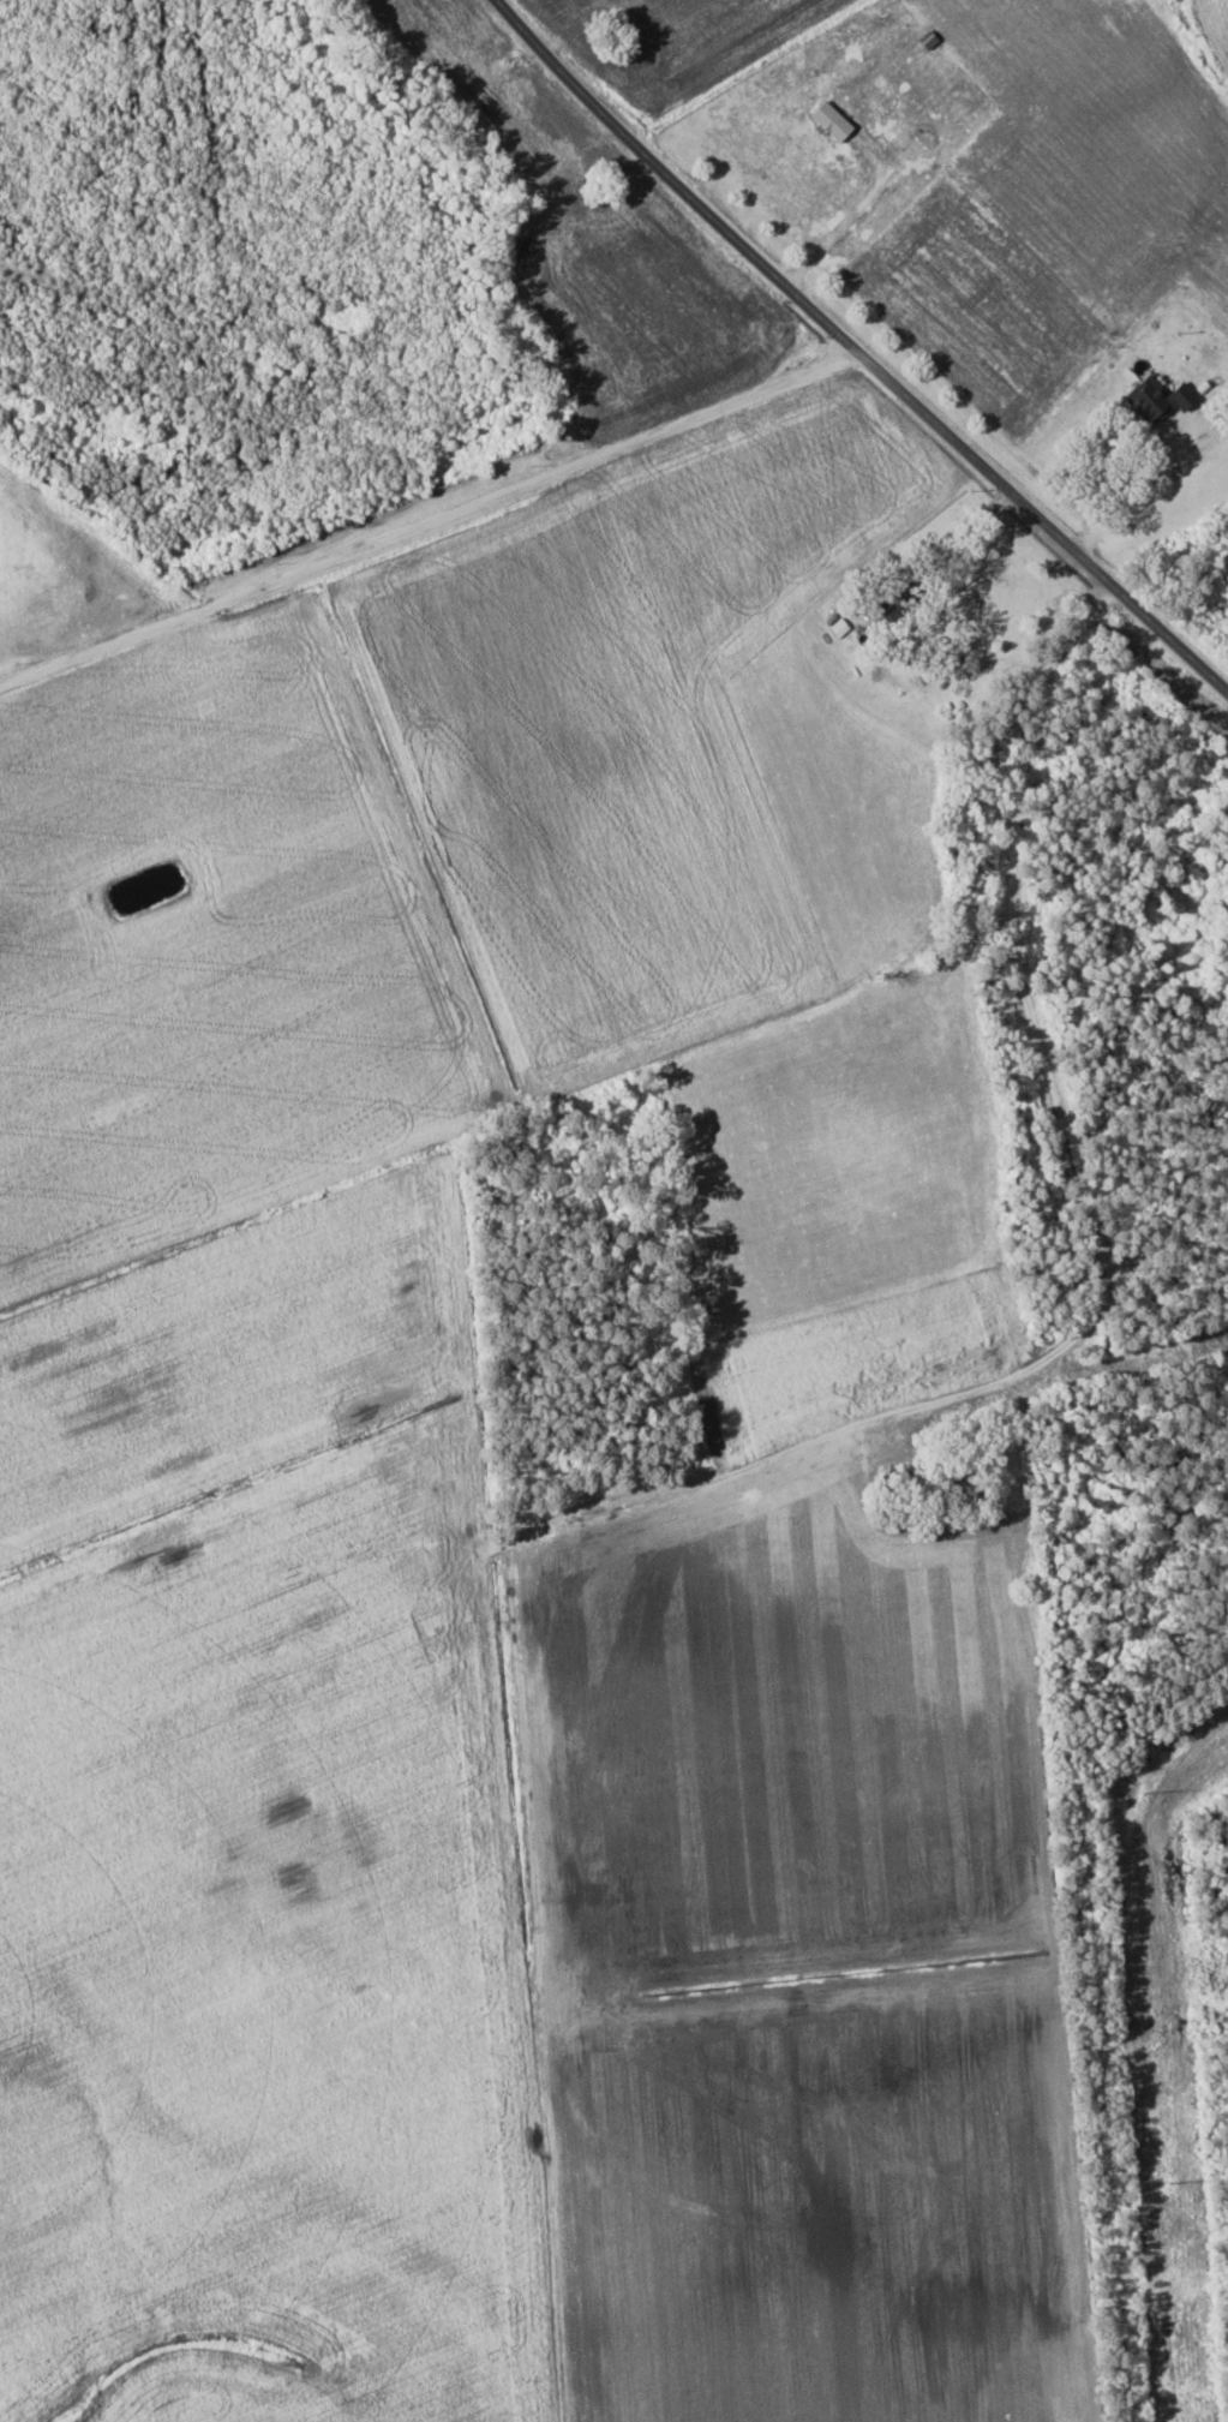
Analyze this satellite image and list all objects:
road: (852, 214)
road: (858, 349)
building: (1154, 399)
building: (944, 664)
power tower: (1143, 1793)
power tower: (1170, 2183)

